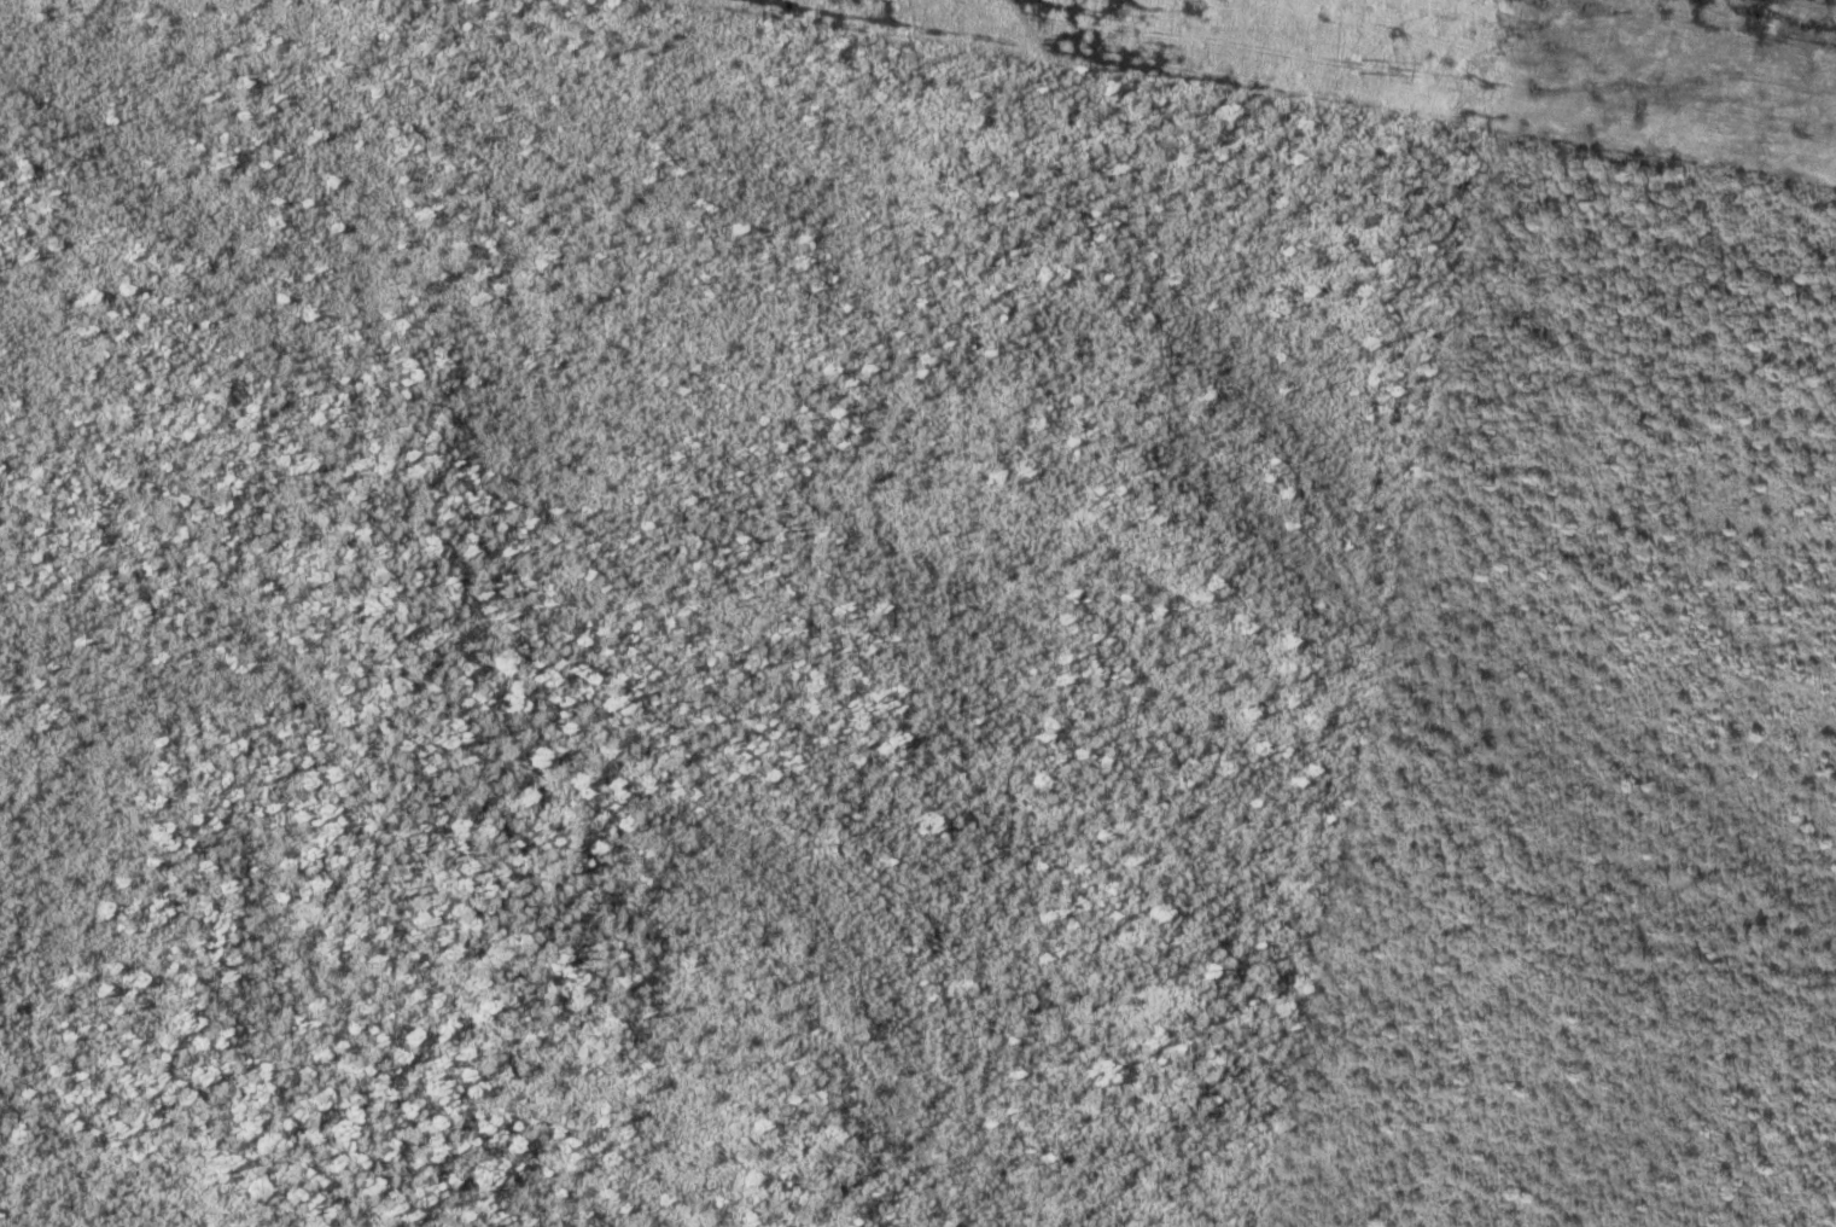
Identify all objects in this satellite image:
power tower: (1532, 40)
power tower: (1357, 69)

